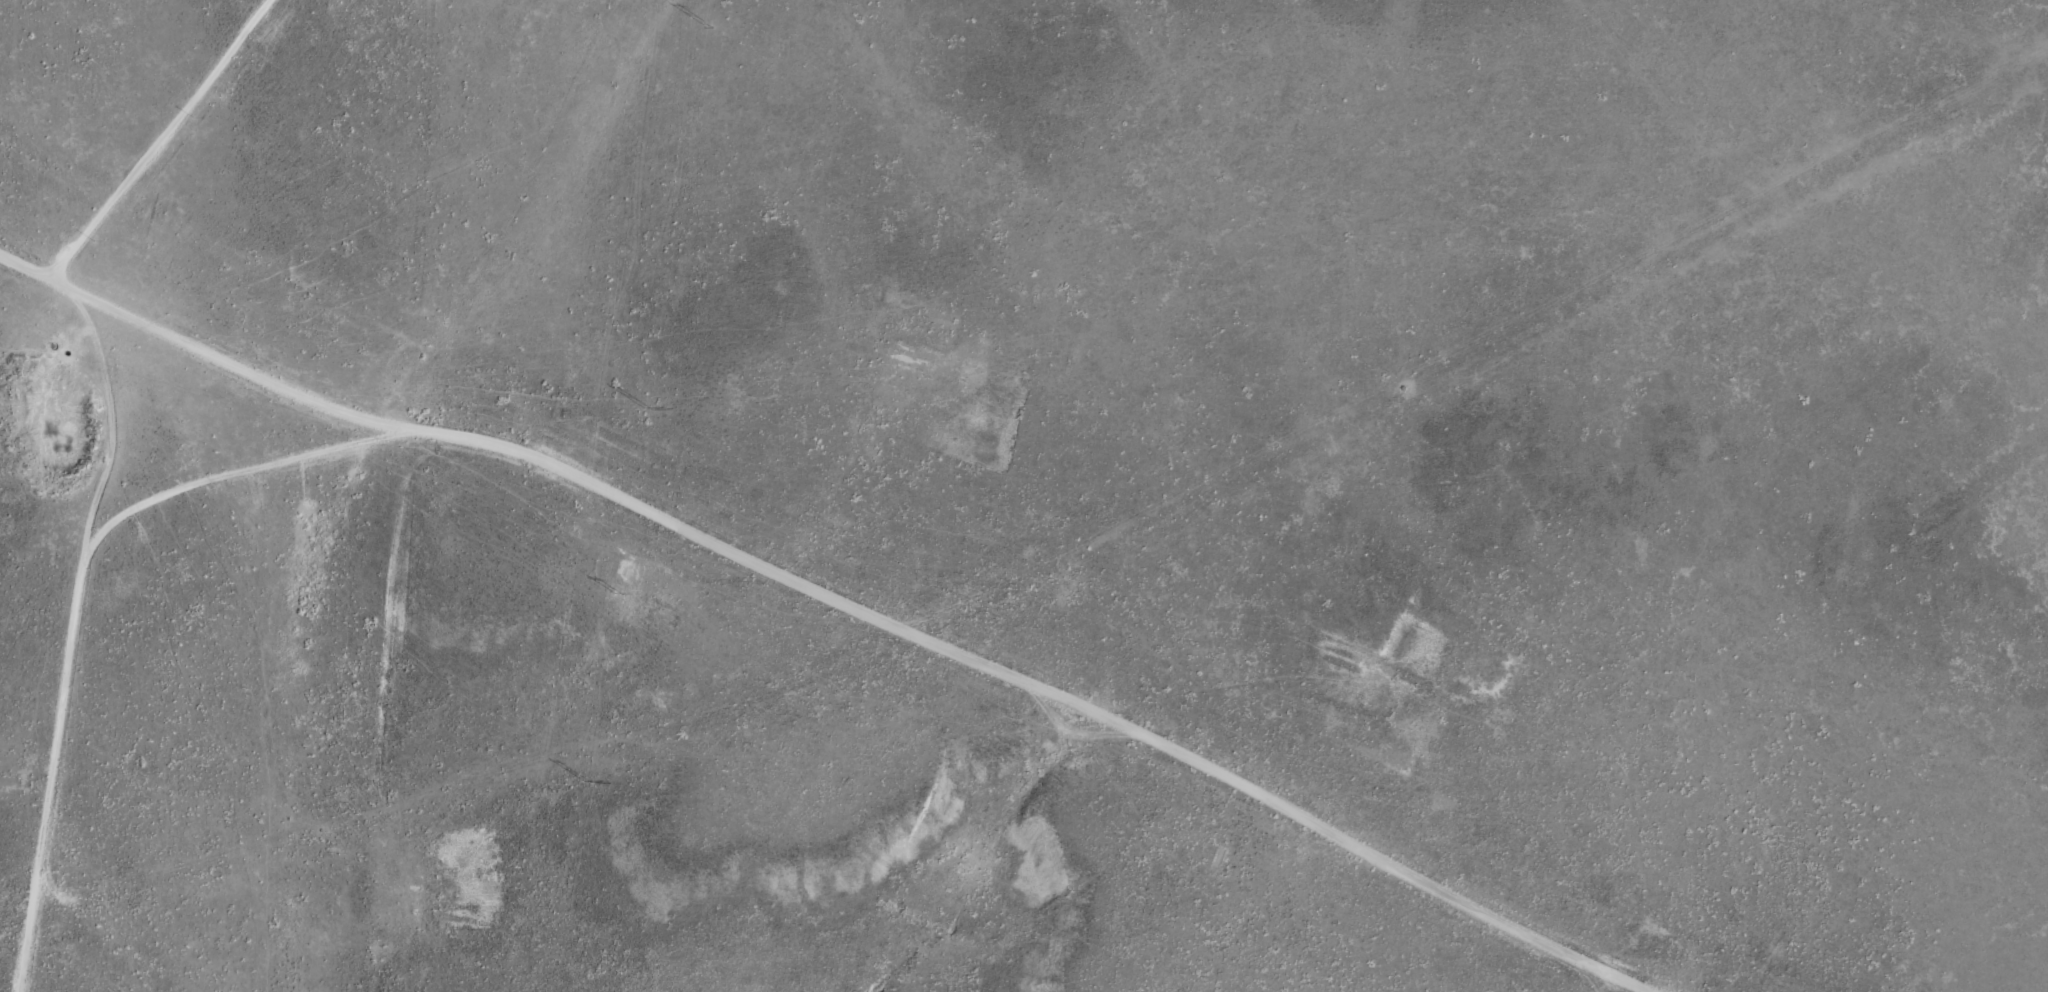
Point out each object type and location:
power tower: (708, 26)
road: (145, 133)
road: (242, 365)
power tower: (646, 408)
road: (1372, 462)
road: (700, 531)
power tower: (588, 781)

